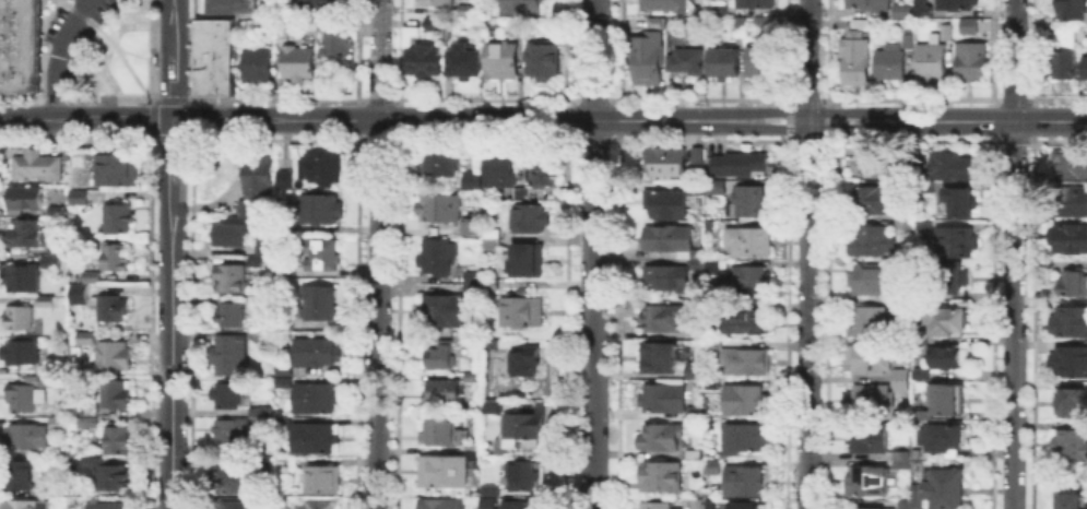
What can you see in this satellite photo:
building: (19, 2)
building: (320, 3)
building: (436, 4)
building: (662, 4)
building: (757, 4)
building: (869, 4)
building: (956, 5)
building: (232, 7)
building: (523, 8)
building: (717, 8)
building: (466, 9)
building: (1071, 10)
building: (901, 11)
building: (922, 11)
building: (19, 16)
building: (657, 23)
building: (430, 24)
building: (736, 26)
building: (764, 26)
parking lot: (76, 28)
building: (970, 28)
building: (282, 33)
building: (445, 33)
building: (947, 34)
building: (212, 38)
building: (908, 39)
road: (111, 43)
building: (336, 43)
building: (19, 45)
road: (56, 55)
building: (1061, 57)
road: (141, 58)
building: (464, 58)
building: (539, 58)
road: (377, 59)
building: (503, 60)
building: (648, 60)
building: (258, 61)
building: (425, 61)
building: (686, 61)
building: (764, 61)
building: (855, 61)
building: (893, 63)
building: (297, 64)
building: (724, 64)
building: (932, 66)
building: (972, 66)
building: (1086, 68)
building: (19, 75)
building: (212, 76)
road: (162, 98)
road: (152, 109)
road: (812, 110)
road: (789, 119)
road: (828, 119)
traffic signals: (172, 120)
road: (379, 120)
road: (974, 120)
road: (811, 129)
building: (435, 161)
building: (740, 161)
building: (664, 162)
building: (874, 165)
building: (496, 167)
building: (952, 167)
building: (1072, 167)
building: (38, 168)
building: (542, 169)
building: (118, 170)
building: (321, 170)
building: (212, 177)
building: (285, 177)
building: (470, 178)
building: (260, 180)
building: (716, 186)
building: (695, 188)
building: (515, 191)
building: (523, 191)
building: (26, 197)
building: (80, 199)
building: (960, 202)
building: (752, 203)
building: (872, 203)
building: (1074, 203)
building: (666, 204)
building: (436, 205)
building: (245, 209)
building: (57, 212)
building: (321, 212)
building: (527, 215)
building: (119, 221)
building: (900, 222)
building: (468, 224)
building: (924, 225)
building: (488, 232)
building: (232, 235)
building: (26, 236)
building: (666, 236)
building: (1067, 239)
building: (488, 240)
building: (871, 241)
building: (749, 244)
building: (956, 245)
building: (263, 247)
building: (489, 249)
building: (59, 250)
building: (697, 252)
road: (590, 253)
road: (806, 253)
road: (1013, 253)
road: (170, 254)
building: (435, 254)
building: (319, 257)
building: (117, 258)
building: (523, 258)
building: (50, 262)
building: (696, 262)
building: (286, 274)
building: (470, 274)
building: (93, 277)
building: (665, 279)
building: (956, 279)
building: (23, 280)
building: (233, 280)
building: (745, 280)
building: (870, 281)
building: (487, 282)
building: (1072, 284)
building: (470, 286)
building: (79, 295)
building: (48, 303)
building: (317, 304)
building: (518, 308)
building: (107, 309)
building: (440, 309)
road: (376, 315)
building: (229, 316)
building: (20, 318)
building: (747, 319)
building: (663, 320)
building: (947, 322)
building: (870, 323)
building: (1070, 323)
building: (281, 329)
building: (262, 336)
building: (469, 336)
building: (88, 340)
building: (487, 342)
building: (713, 343)
building: (226, 352)
building: (21, 354)
building: (316, 354)
building: (437, 354)
building: (115, 357)
building: (522, 359)
building: (661, 359)
building: (948, 359)
building: (870, 362)
building: (746, 364)
building: (1072, 364)
building: (283, 369)
building: (697, 372)
building: (469, 374)
building: (922, 376)
building: (46, 380)
building: (900, 380)
building: (439, 389)
building: (117, 396)
building: (229, 396)
building: (23, 398)
building: (665, 399)
building: (317, 400)
building: (946, 401)
building: (746, 402)
building: (870, 403)
building: (489, 404)
building: (61, 405)
building: (1068, 405)
building: (92, 407)
building: (78, 409)
building: (696, 410)
building: (259, 413)
building: (284, 421)
building: (86, 423)
building: (716, 424)
building: (59, 426)
building: (521, 426)
building: (438, 430)
building: (232, 433)
building: (25, 438)
building: (118, 438)
building: (662, 438)
building: (943, 438)
building: (316, 440)
building: (867, 440)
building: (742, 441)
building: (470, 445)
building: (1070, 446)
building: (695, 457)
building: (900, 462)
building: (445, 467)
building: (713, 467)
building: (520, 473)
building: (19, 476)
building: (110, 476)
building: (662, 478)
building: (234, 481)
building: (322, 481)
building: (744, 482)
building: (866, 482)
building: (488, 488)
building: (947, 490)
building: (917, 498)
building: (1068, 501)
building: (439, 502)
building: (487, 502)
building: (518, 502)
building: (696, 502)
building: (281, 504)
building: (106, 505)
building: (322, 505)
building: (28, 506)
building: (234, 506)
building: (902, 506)
building: (746, 507)
building: (872, 507)
building: (633, 508)
building: (657, 508)

